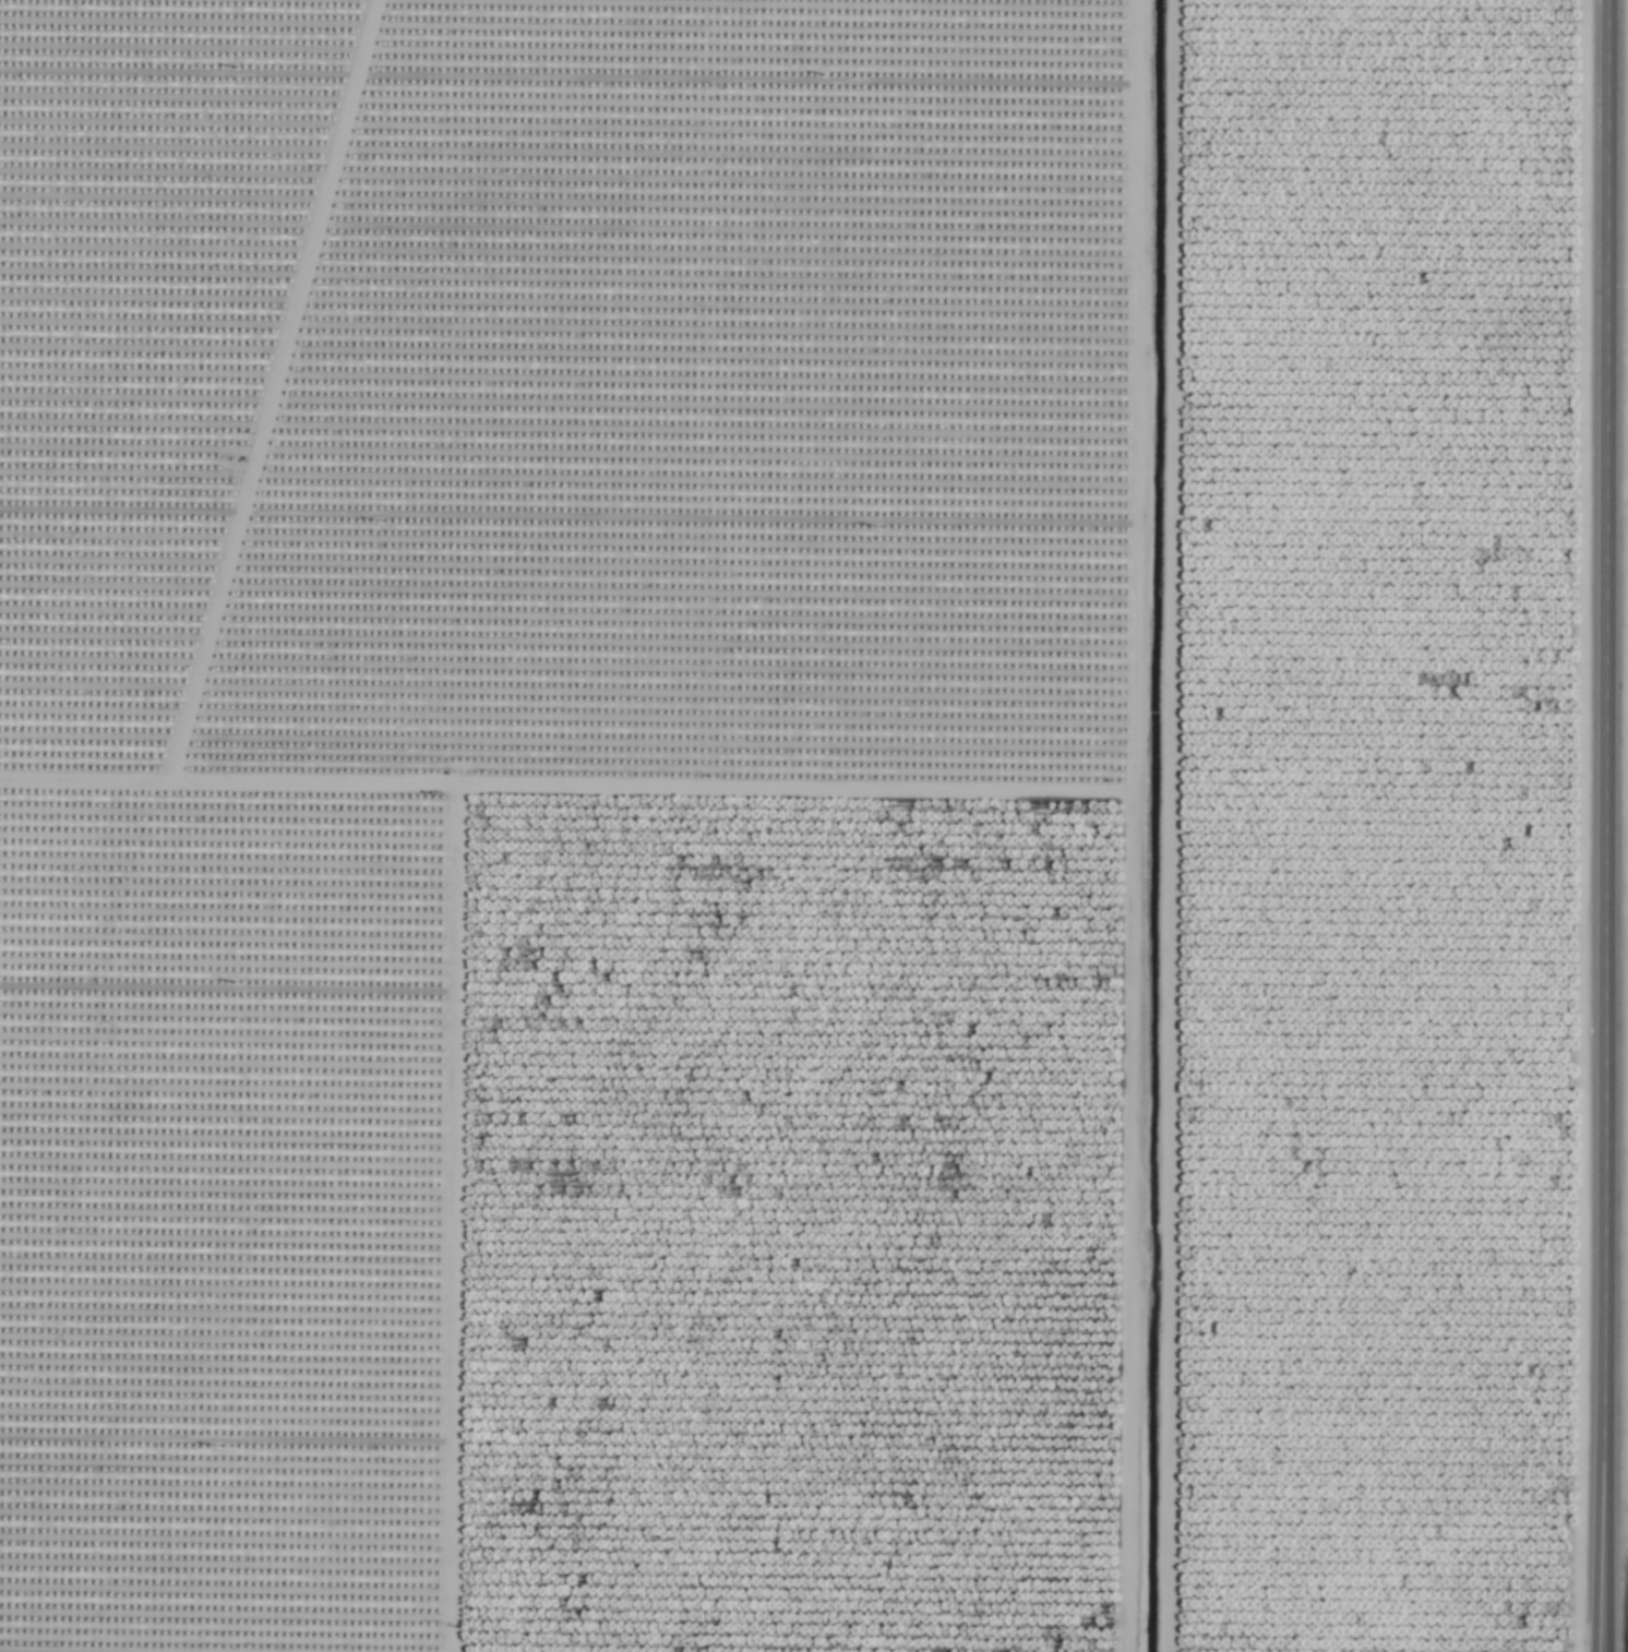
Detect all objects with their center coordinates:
road: (1620, 326)
crop: (118, 513)
road: (1607, 826)

